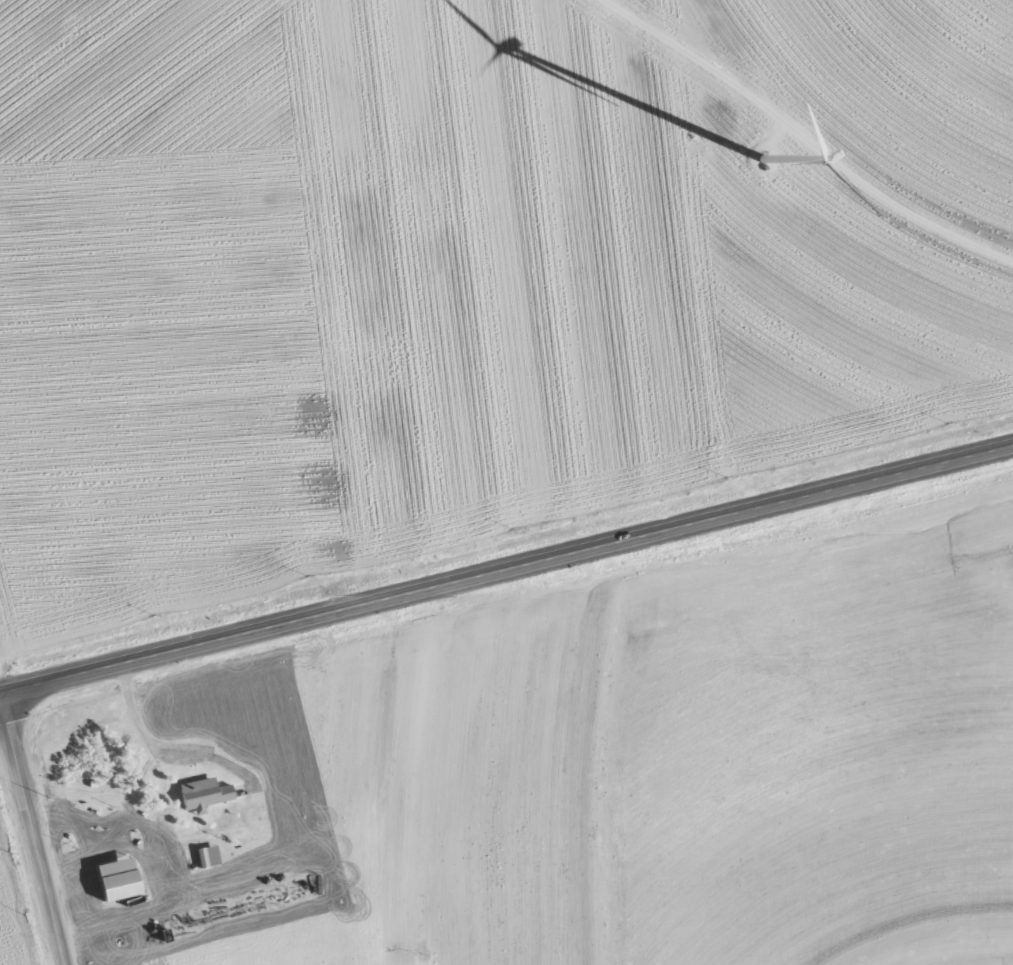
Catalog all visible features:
road: (805, 137)
wind turbine: (783, 153)
road: (506, 564)
road: (35, 826)
building: (122, 878)

